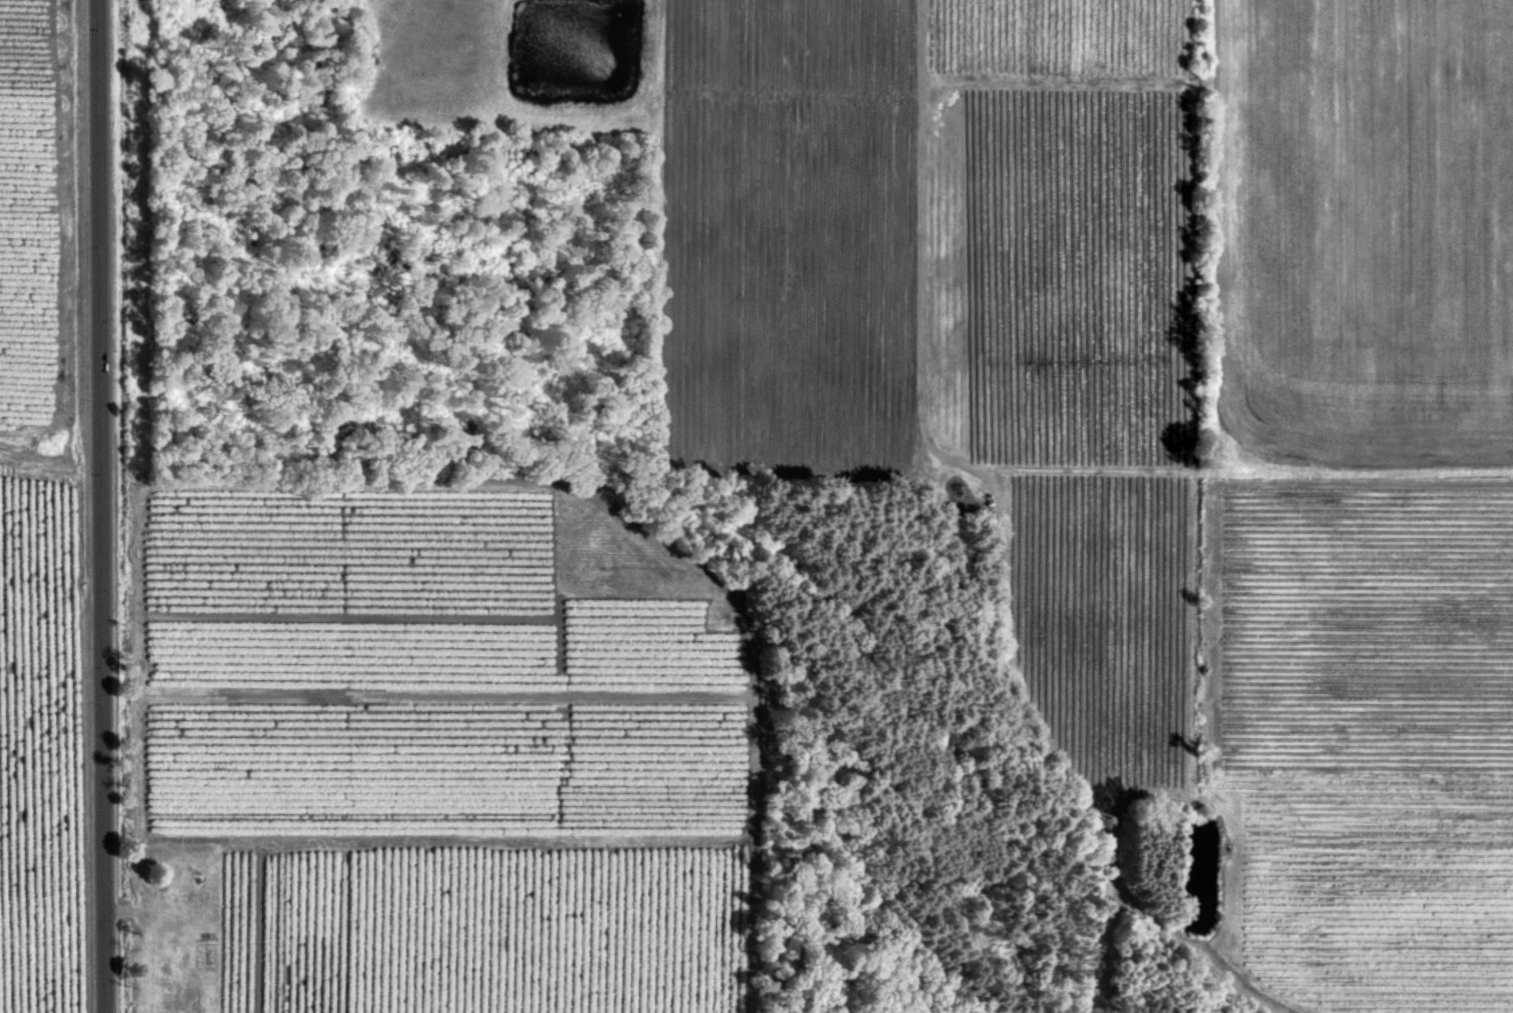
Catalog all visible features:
road: (103, 506)

